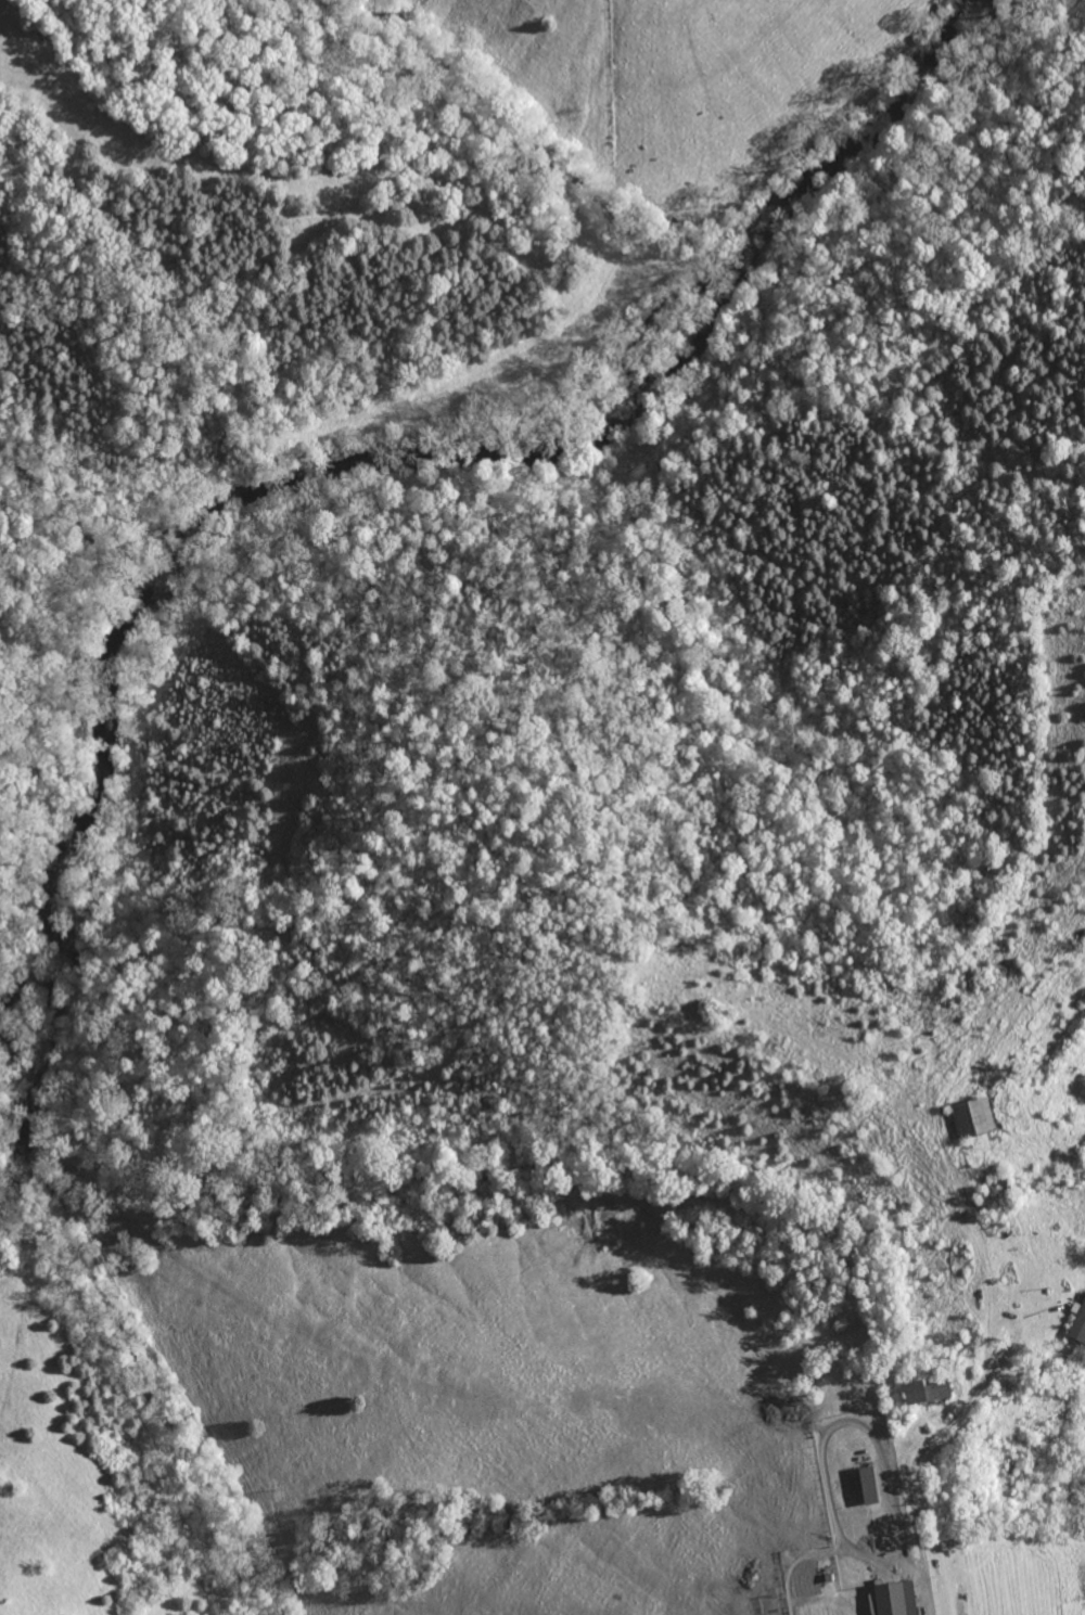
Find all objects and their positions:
building: (968, 1117)
building: (1075, 1320)
building: (919, 1392)
building: (861, 1485)
road: (906, 1494)
building: (890, 1599)

